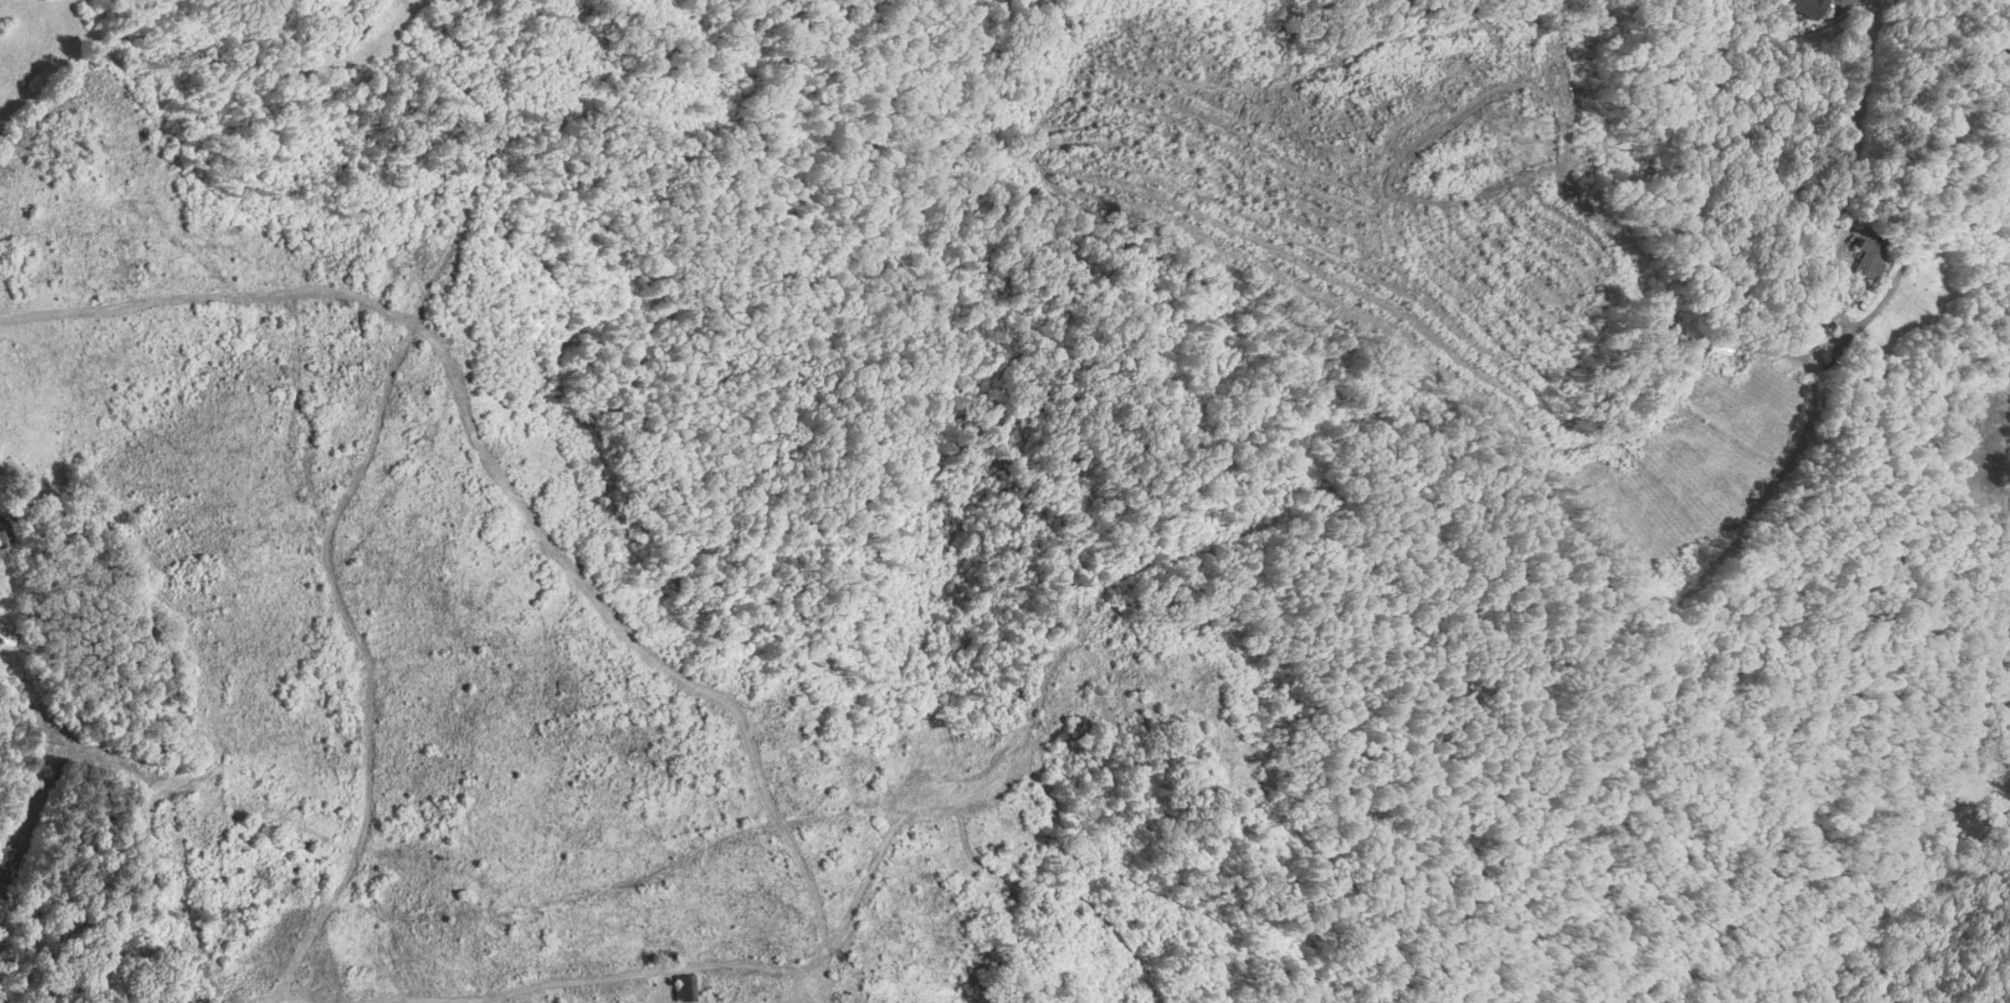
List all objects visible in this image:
building: (1802, 7)
road: (1280, 30)
building: (1859, 257)
building: (1820, 359)
building: (5, 533)
building: (8, 636)
road: (181, 715)

